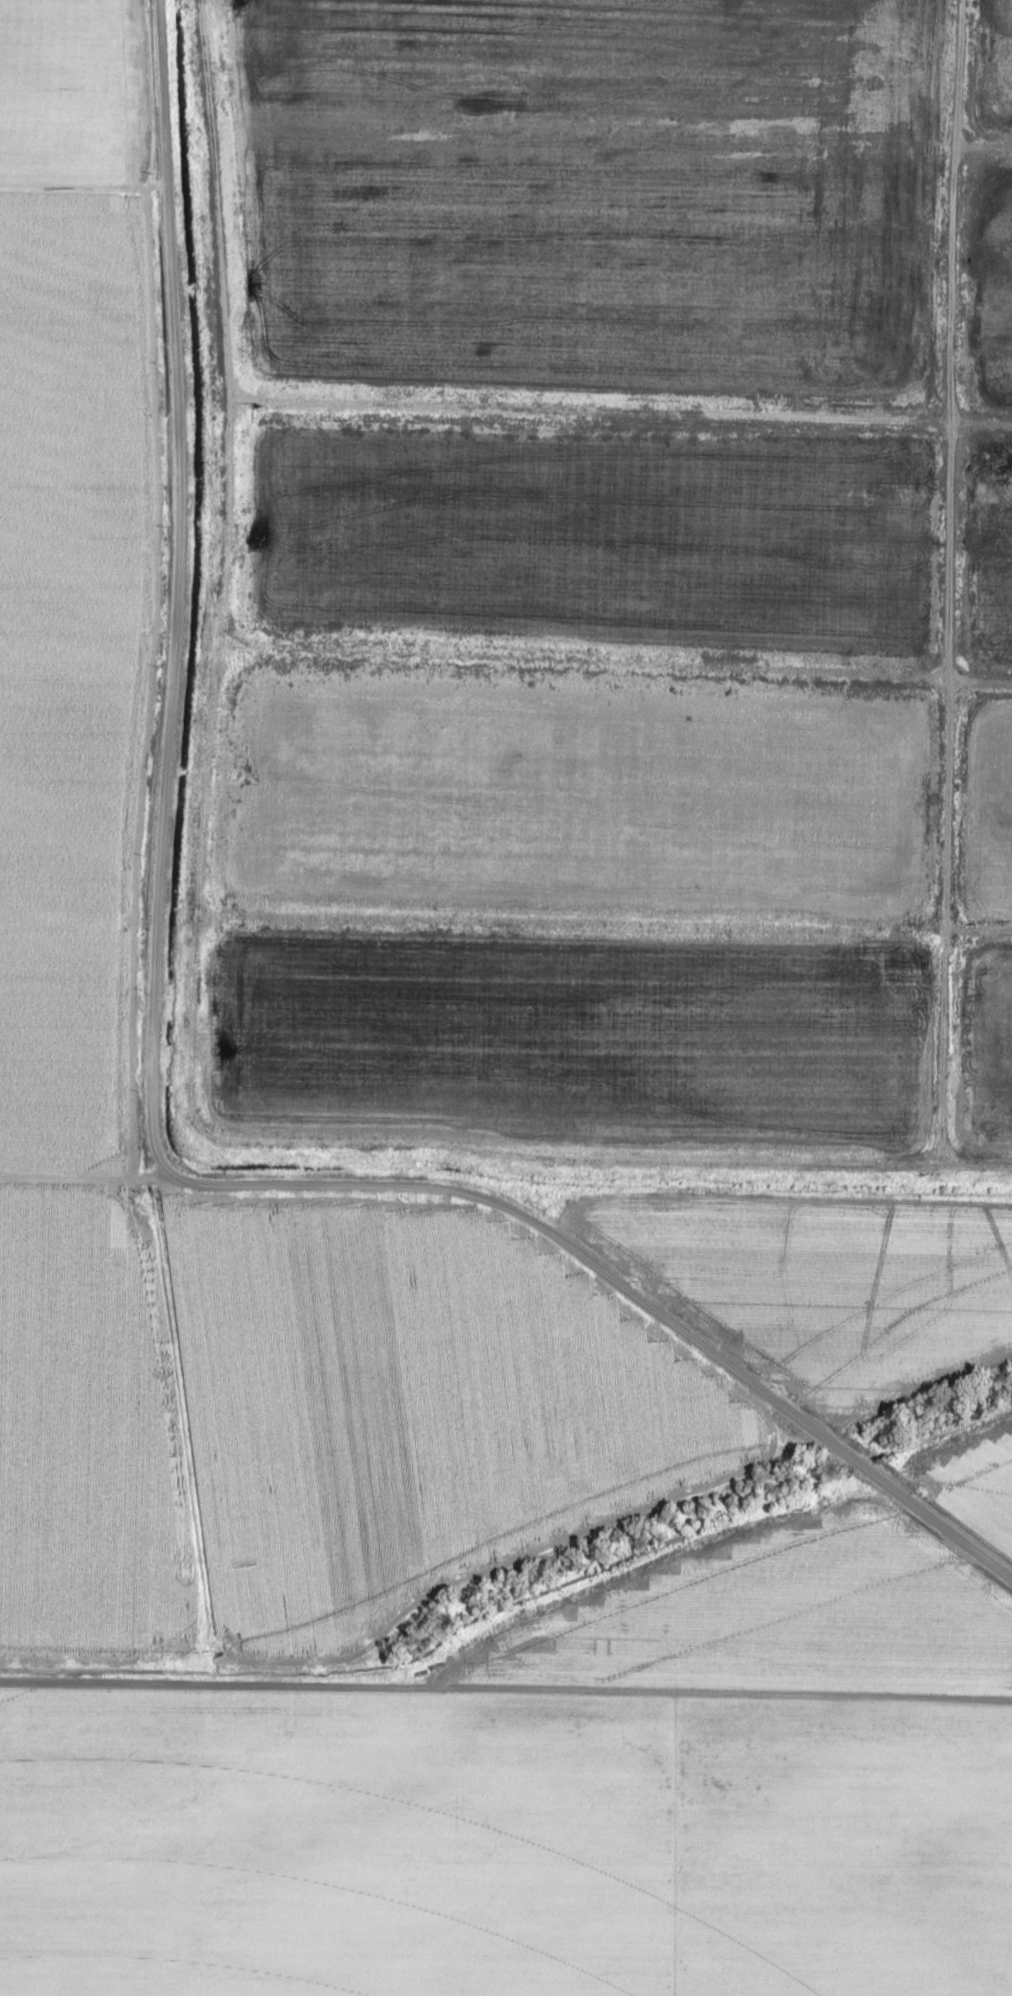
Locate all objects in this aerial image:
road: (159, 90)
road: (82, 187)
road: (169, 682)
road: (556, 1238)

